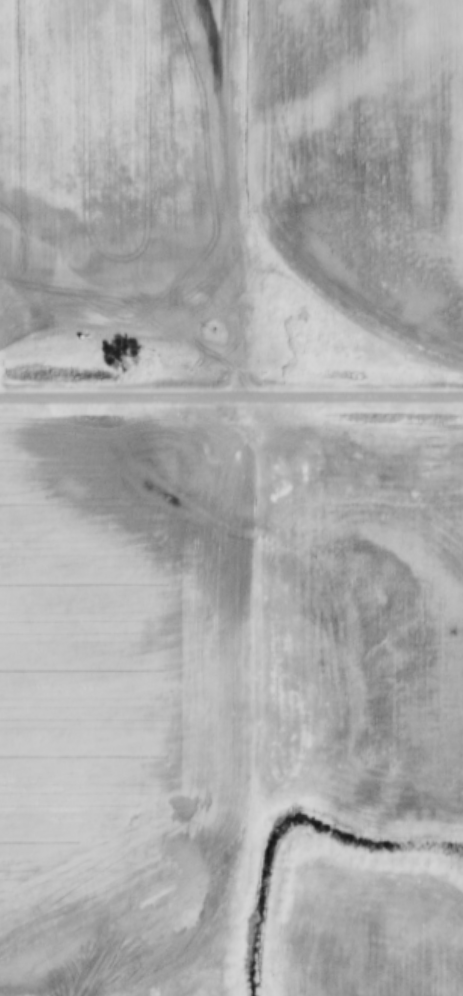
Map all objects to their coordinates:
road: (231, 390)

